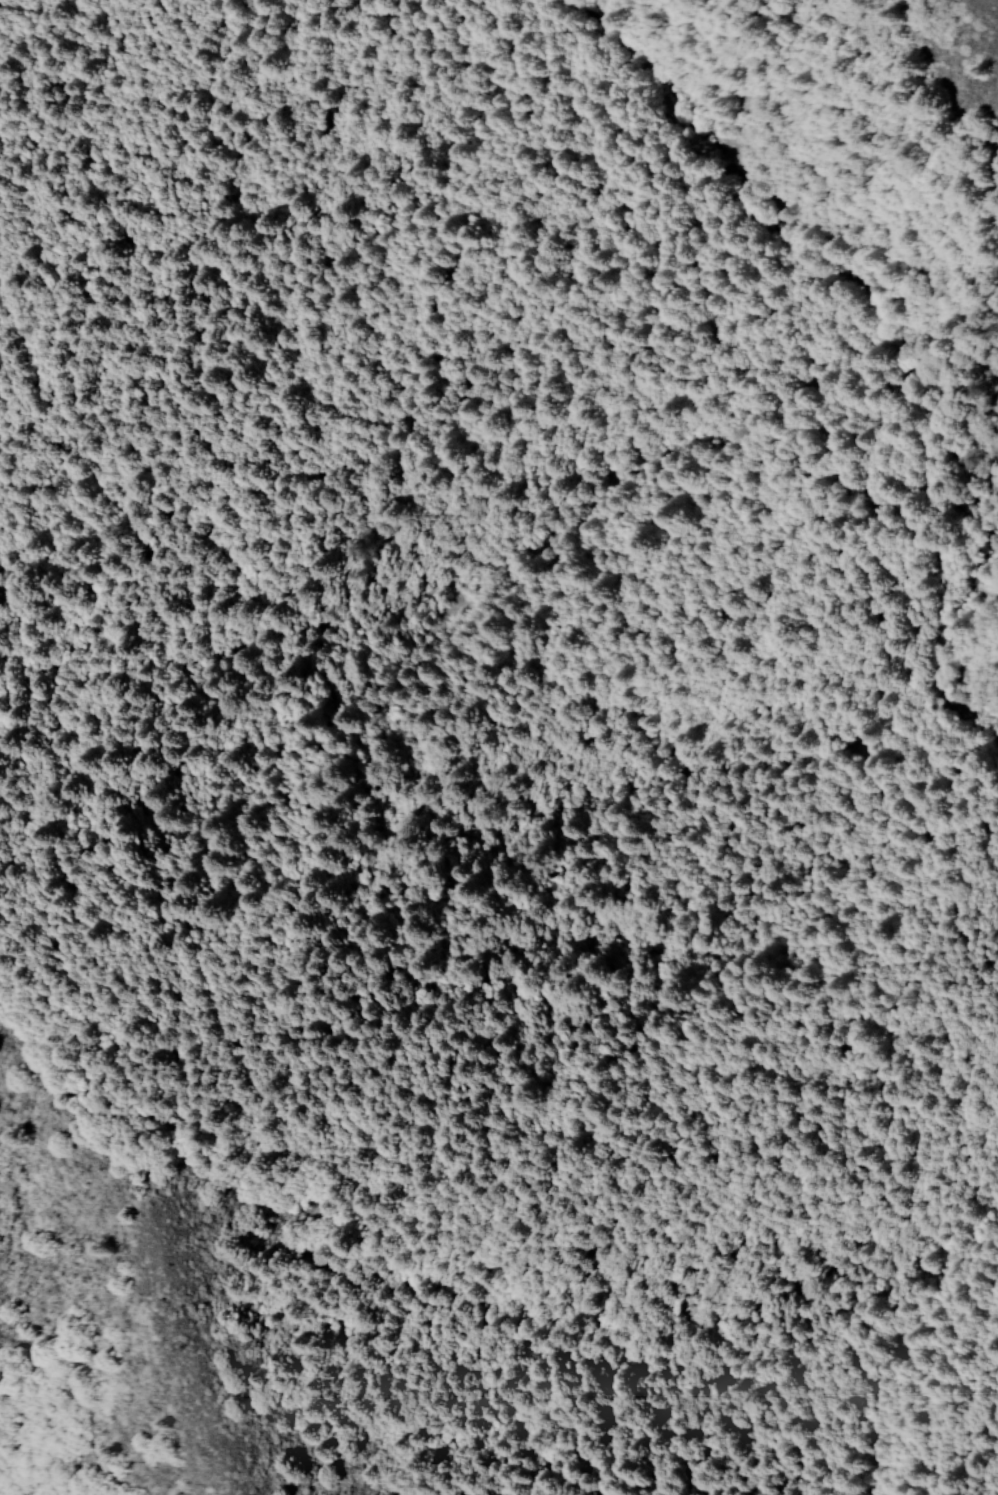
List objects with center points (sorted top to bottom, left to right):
road: (810, 391)

